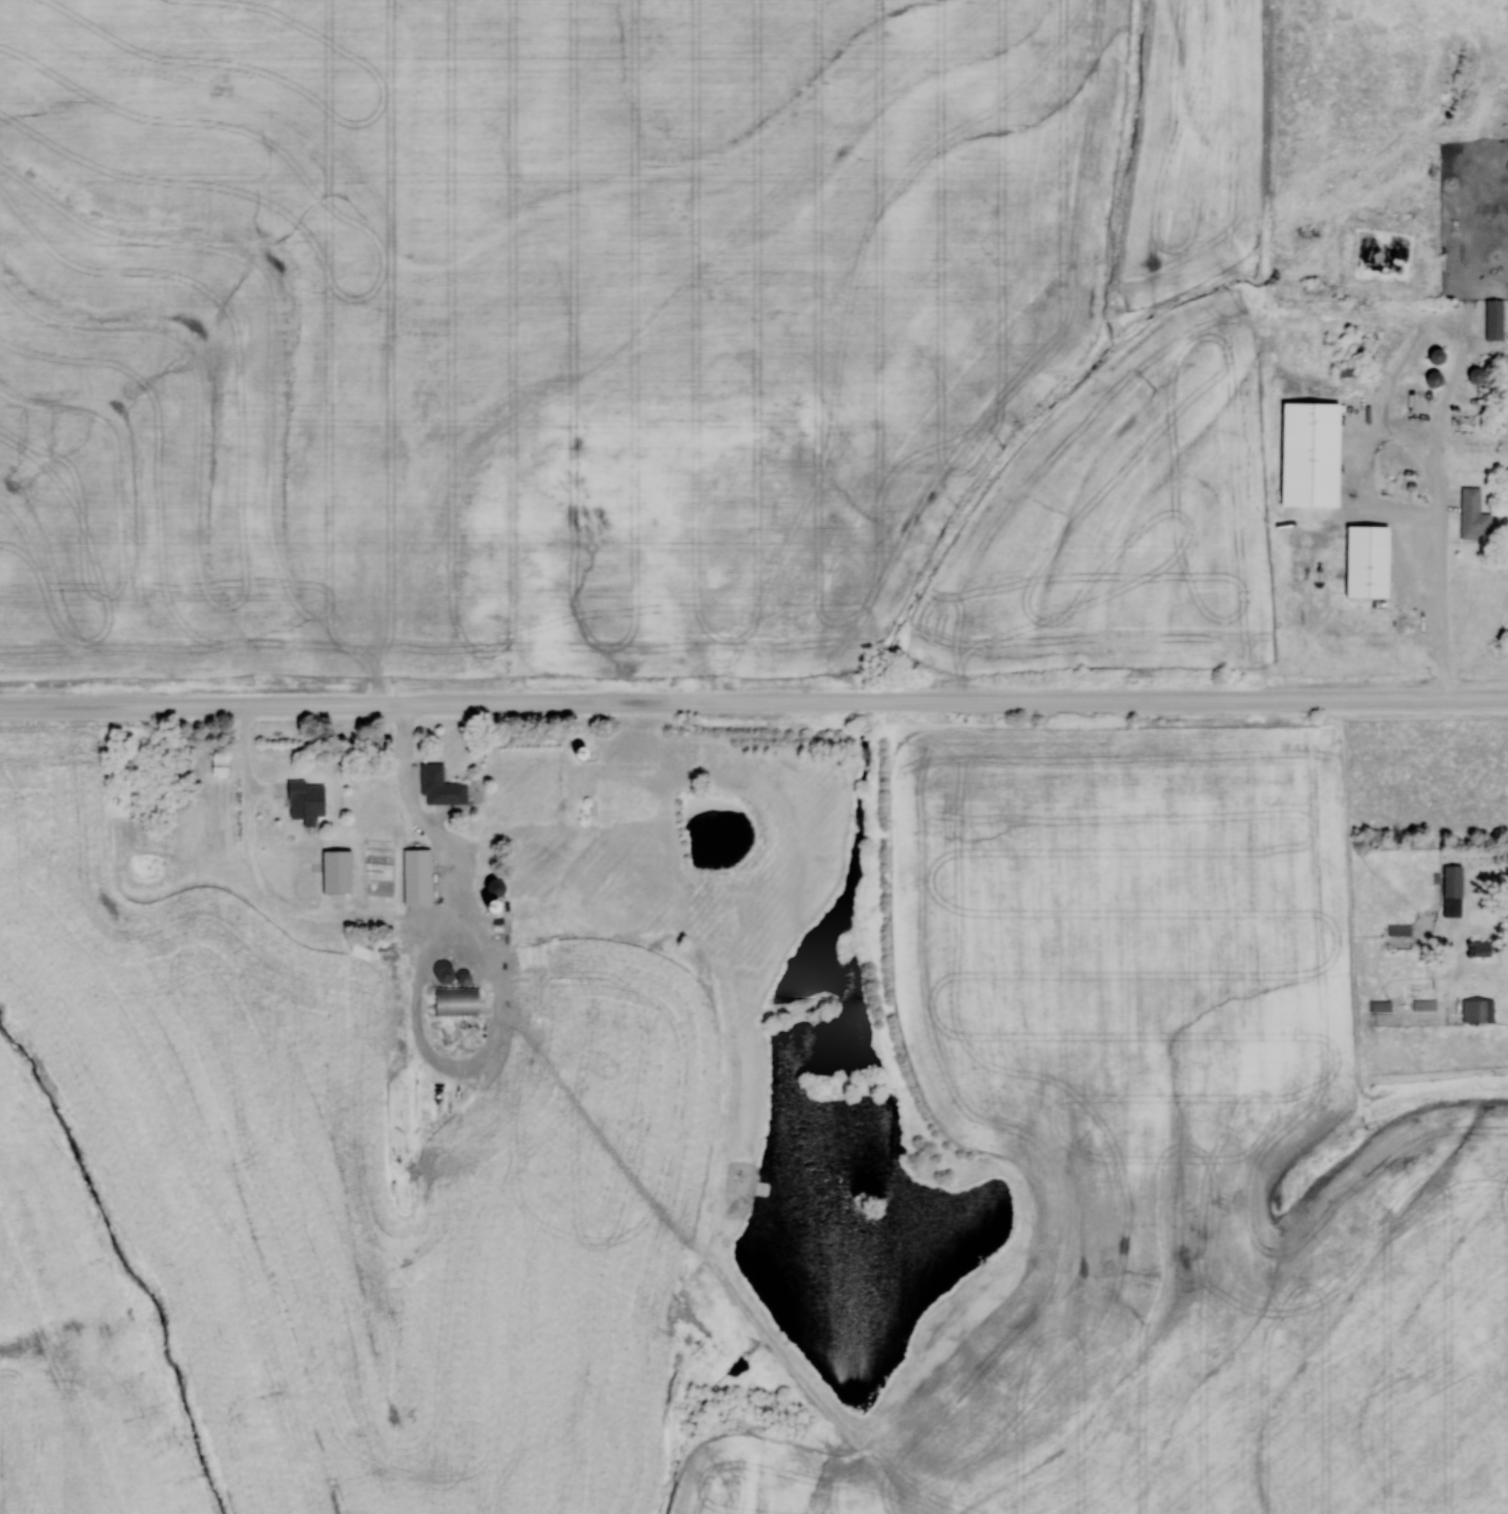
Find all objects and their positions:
building: (1494, 319)
building: (1436, 356)
building: (1346, 371)
building: (1476, 376)
building: (1433, 379)
building: (1368, 443)
building: (1309, 462)
building: (651, 492)
building: (1473, 516)
building: (1365, 563)
road: (754, 701)
building: (220, 765)
building: (440, 787)
building: (301, 799)
building: (622, 809)
building: (336, 871)
building: (416, 876)
building: (1452, 891)
building: (506, 915)
building: (1399, 930)
building: (1482, 949)
building: (443, 974)
building: (463, 979)
building: (456, 1001)
building: (1424, 1005)
building: (1381, 1007)
building: (1477, 1011)

